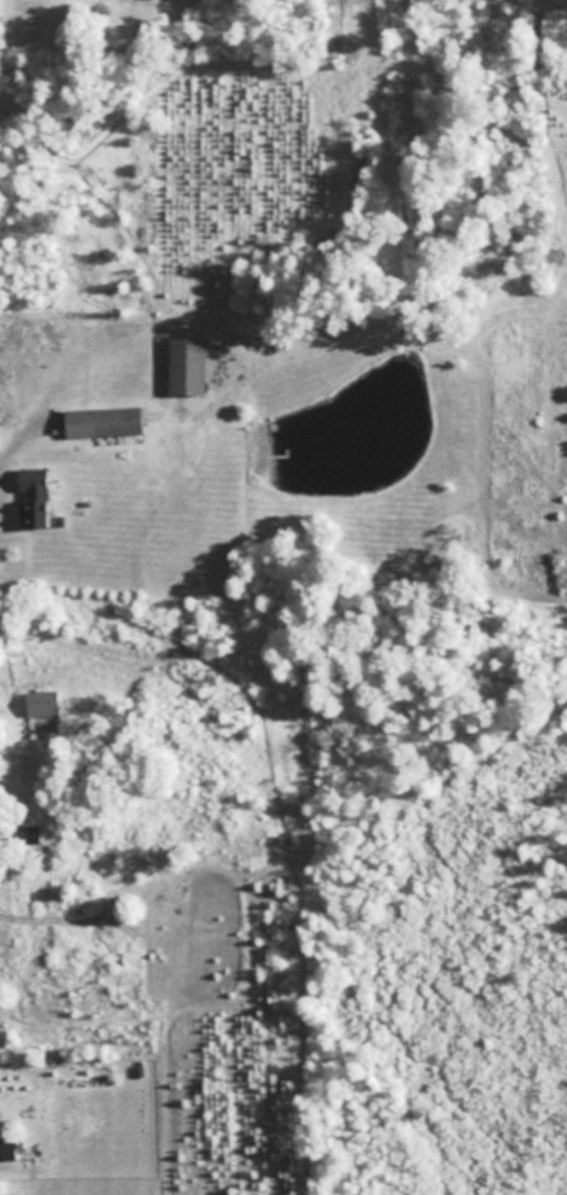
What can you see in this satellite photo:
building: (186, 366)
building: (103, 420)
building: (31, 496)
building: (6, 1147)

